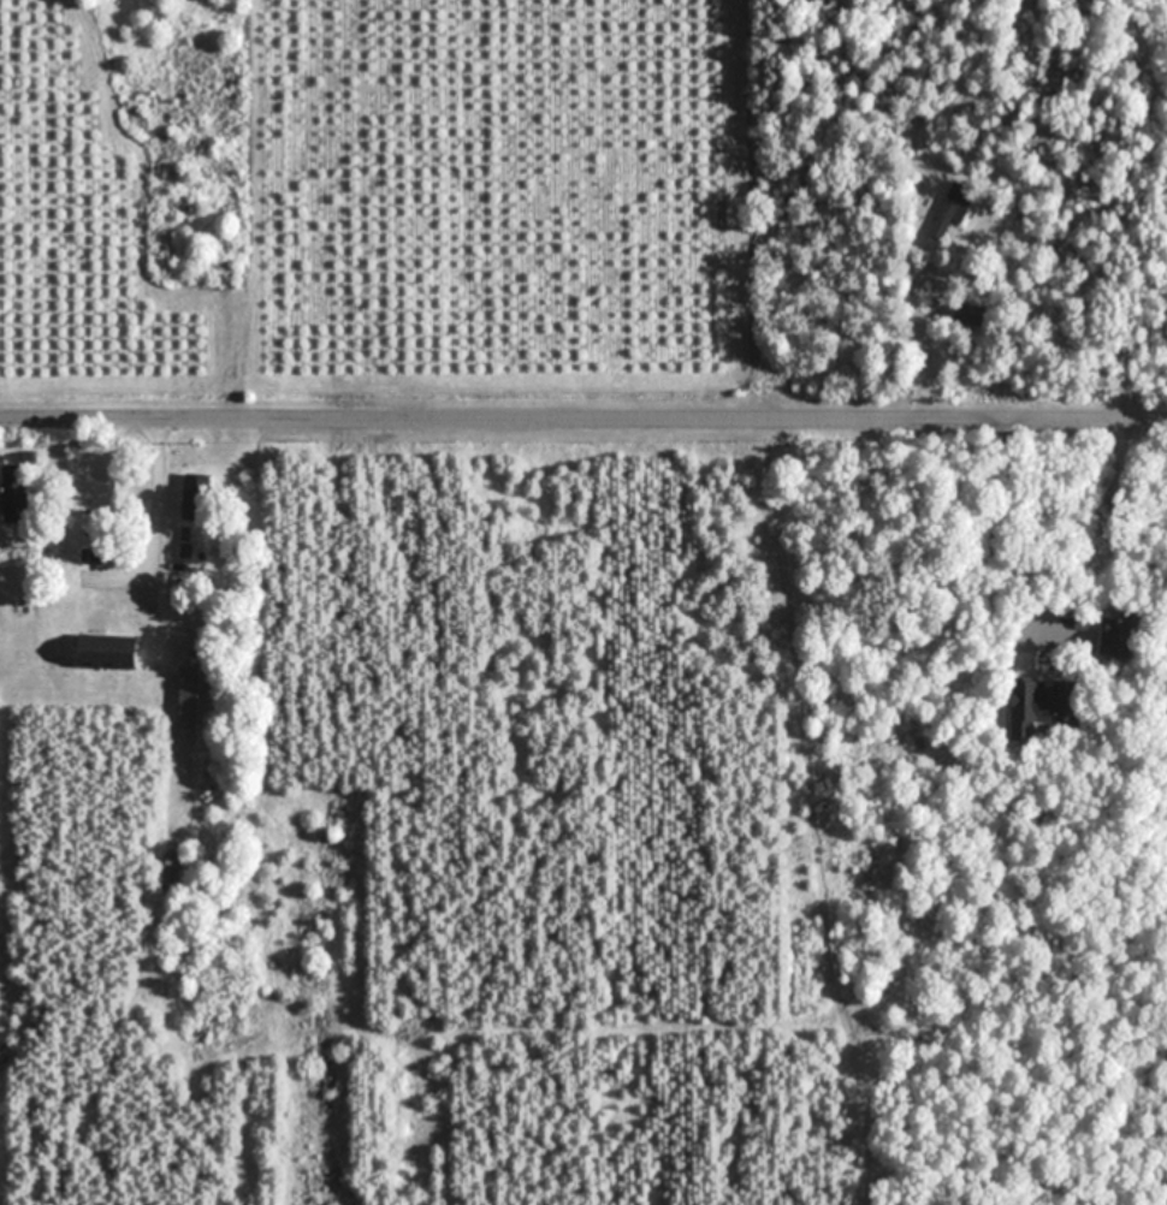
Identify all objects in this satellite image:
building: (949, 209)
building: (967, 311)
road: (925, 356)
road: (582, 419)
building: (13, 493)
building: (195, 497)
road: (155, 498)
road: (1107, 515)
building: (1119, 635)
building: (103, 654)
building: (195, 698)
building: (1038, 705)
building: (167, 869)

